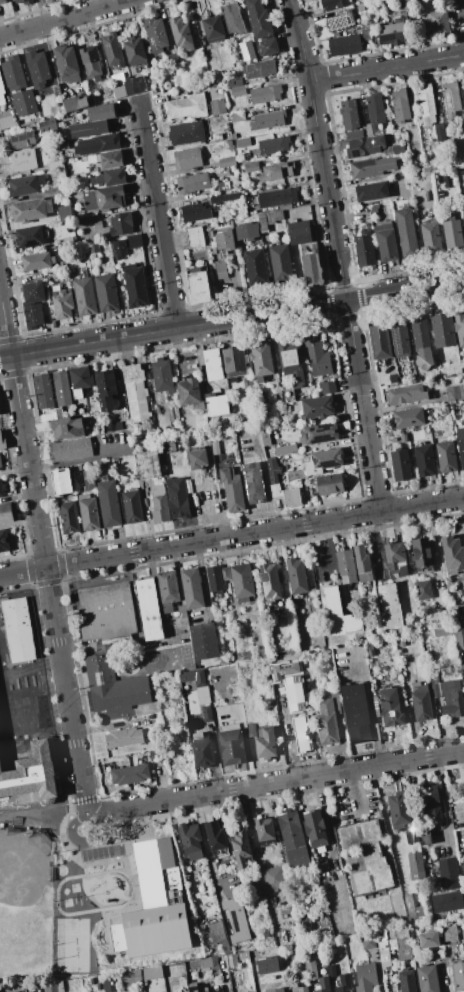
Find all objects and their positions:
building: (2, 1)
building: (23, 1)
building: (332, 3)
building: (406, 3)
building: (359, 8)
road: (65, 18)
building: (233, 19)
building: (258, 19)
building: (340, 20)
building: (437, 23)
building: (213, 28)
building: (156, 34)
building: (181, 34)
building: (392, 34)
building: (365, 35)
building: (344, 44)
building: (269, 46)
building: (113, 49)
building: (246, 50)
building: (135, 51)
building: (90, 61)
building: (67, 64)
building: (37, 68)
road: (387, 68)
building: (258, 69)
building: (13, 72)
building: (151, 79)
building: (234, 82)
building: (138, 83)
building: (463, 86)
building: (123, 88)
building: (56, 90)
building: (238, 90)
building: (1, 92)
building: (265, 93)
building: (30, 94)
building: (451, 96)
building: (83, 103)
building: (427, 103)
building: (71, 104)
building: (196, 105)
building: (400, 105)
building: (375, 110)
building: (101, 112)
building: (350, 115)
building: (237, 117)
building: (268, 120)
building: (6, 122)
building: (47, 125)
building: (462, 125)
building: (89, 129)
building: (367, 130)
building: (185, 133)
building: (440, 133)
building: (354, 134)
building: (412, 134)
building: (22, 140)
building: (243, 142)
building: (97, 144)
building: (64, 145)
building: (274, 145)
building: (368, 146)
building: (399, 149)
building: (111, 159)
building: (187, 159)
building: (22, 160)
building: (225, 161)
building: (251, 167)
building: (371, 167)
building: (276, 171)
building: (110, 177)
building: (193, 182)
building: (25, 185)
building: (223, 186)
building: (52, 191)
building: (371, 191)
building: (279, 196)
building: (103, 198)
building: (221, 198)
building: (28, 210)
building: (63, 212)
building: (195, 212)
building: (295, 214)
building: (463, 214)
road: (157, 217)
building: (268, 219)
building: (463, 220)
building: (97, 224)
building: (120, 224)
building: (247, 230)
building: (406, 233)
building: (299, 235)
building: (430, 235)
building: (452, 235)
building: (194, 236)
building: (29, 237)
building: (134, 241)
building: (225, 241)
building: (386, 242)
building: (93, 248)
building: (119, 248)
building: (364, 250)
road: (338, 254)
building: (36, 261)
building: (281, 263)
building: (256, 266)
building: (311, 269)
building: (221, 270)
building: (135, 286)
building: (198, 288)
building: (106, 292)
building: (84, 296)
building: (62, 303)
building: (33, 304)
road: (232, 319)
building: (459, 327)
building: (442, 330)
building: (399, 338)
building: (379, 341)
building: (421, 343)
road: (178, 351)
building: (316, 354)
building: (261, 360)
building: (234, 361)
building: (291, 363)
building: (212, 364)
building: (162, 375)
building: (80, 380)
building: (327, 387)
building: (59, 388)
building: (105, 389)
building: (43, 391)
building: (135, 392)
building: (454, 392)
building: (190, 393)
building: (286, 394)
building: (407, 394)
building: (263, 402)
building: (216, 406)
building: (317, 407)
building: (408, 418)
building: (120, 426)
building: (67, 427)
building: (320, 433)
building: (265, 439)
building: (3, 441)
building: (461, 445)
building: (214, 447)
building: (70, 449)
building: (284, 449)
building: (446, 456)
road: (78, 459)
building: (197, 459)
building: (424, 460)
building: (323, 461)
building: (148, 465)
building: (400, 465)
building: (77, 468)
building: (0, 470)
building: (273, 477)
building: (88, 480)
building: (61, 481)
building: (253, 482)
building: (1, 489)
building: (232, 489)
building: (330, 489)
building: (177, 498)
building: (292, 498)
building: (109, 503)
building: (160, 505)
building: (131, 506)
building: (6, 512)
building: (88, 512)
building: (68, 517)
road: (231, 536)
road: (378, 540)
building: (4, 541)
road: (328, 548)
building: (422, 553)
building: (453, 553)
road: (43, 554)
building: (396, 558)
building: (362, 564)
building: (346, 566)
building: (224, 573)
building: (296, 576)
building: (214, 578)
building: (242, 580)
building: (269, 581)
building: (167, 587)
building: (422, 589)
building: (190, 593)
road: (155, 596)
building: (389, 606)
building: (149, 609)
building: (455, 611)
building: (106, 612)
building: (337, 614)
building: (18, 629)
building: (443, 632)
building: (459, 637)
building: (204, 641)
building: (401, 643)
building: (244, 656)
building: (195, 676)
building: (113, 686)
building: (452, 698)
park: (13, 700)
building: (422, 705)
building: (390, 707)
building: (206, 713)
building: (356, 713)
building: (326, 722)
building: (297, 735)
building: (123, 737)
building: (266, 743)
building: (232, 747)
building: (202, 752)
road: (462, 764)
building: (30, 770)
building: (130, 774)
road: (278, 782)
road: (354, 791)
building: (429, 800)
road: (444, 805)
building: (399, 809)
road: (42, 814)
building: (315, 830)
building: (265, 831)
building: (215, 835)
building: (415, 836)
building: (292, 838)
road: (90, 839)
building: (190, 840)
building: (241, 848)
road: (207, 853)
building: (366, 856)
building: (320, 865)
building: (416, 866)
park: (60, 869)
building: (448, 874)
building: (274, 878)
park: (74, 886)
track: (91, 892)
park: (89, 896)
park: (66, 901)
building: (446, 901)
building: (154, 904)
park: (25, 907)
building: (412, 907)
building: (236, 919)
building: (303, 920)
building: (216, 931)
building: (401, 933)
building: (450, 934)
building: (280, 935)
building: (428, 940)
building: (368, 941)
park: (71, 944)
building: (385, 946)
building: (404, 949)
building: (267, 965)
building: (309, 967)
building: (331, 970)
building: (151, 973)
building: (458, 976)
building: (131, 977)
building: (365, 977)
building: (428, 979)
building: (407, 981)
building: (344, 983)
building: (110, 984)
building: (324, 984)
building: (50, 986)
building: (127, 988)
building: (303, 988)
building: (197, 989)
building: (276, 990)

